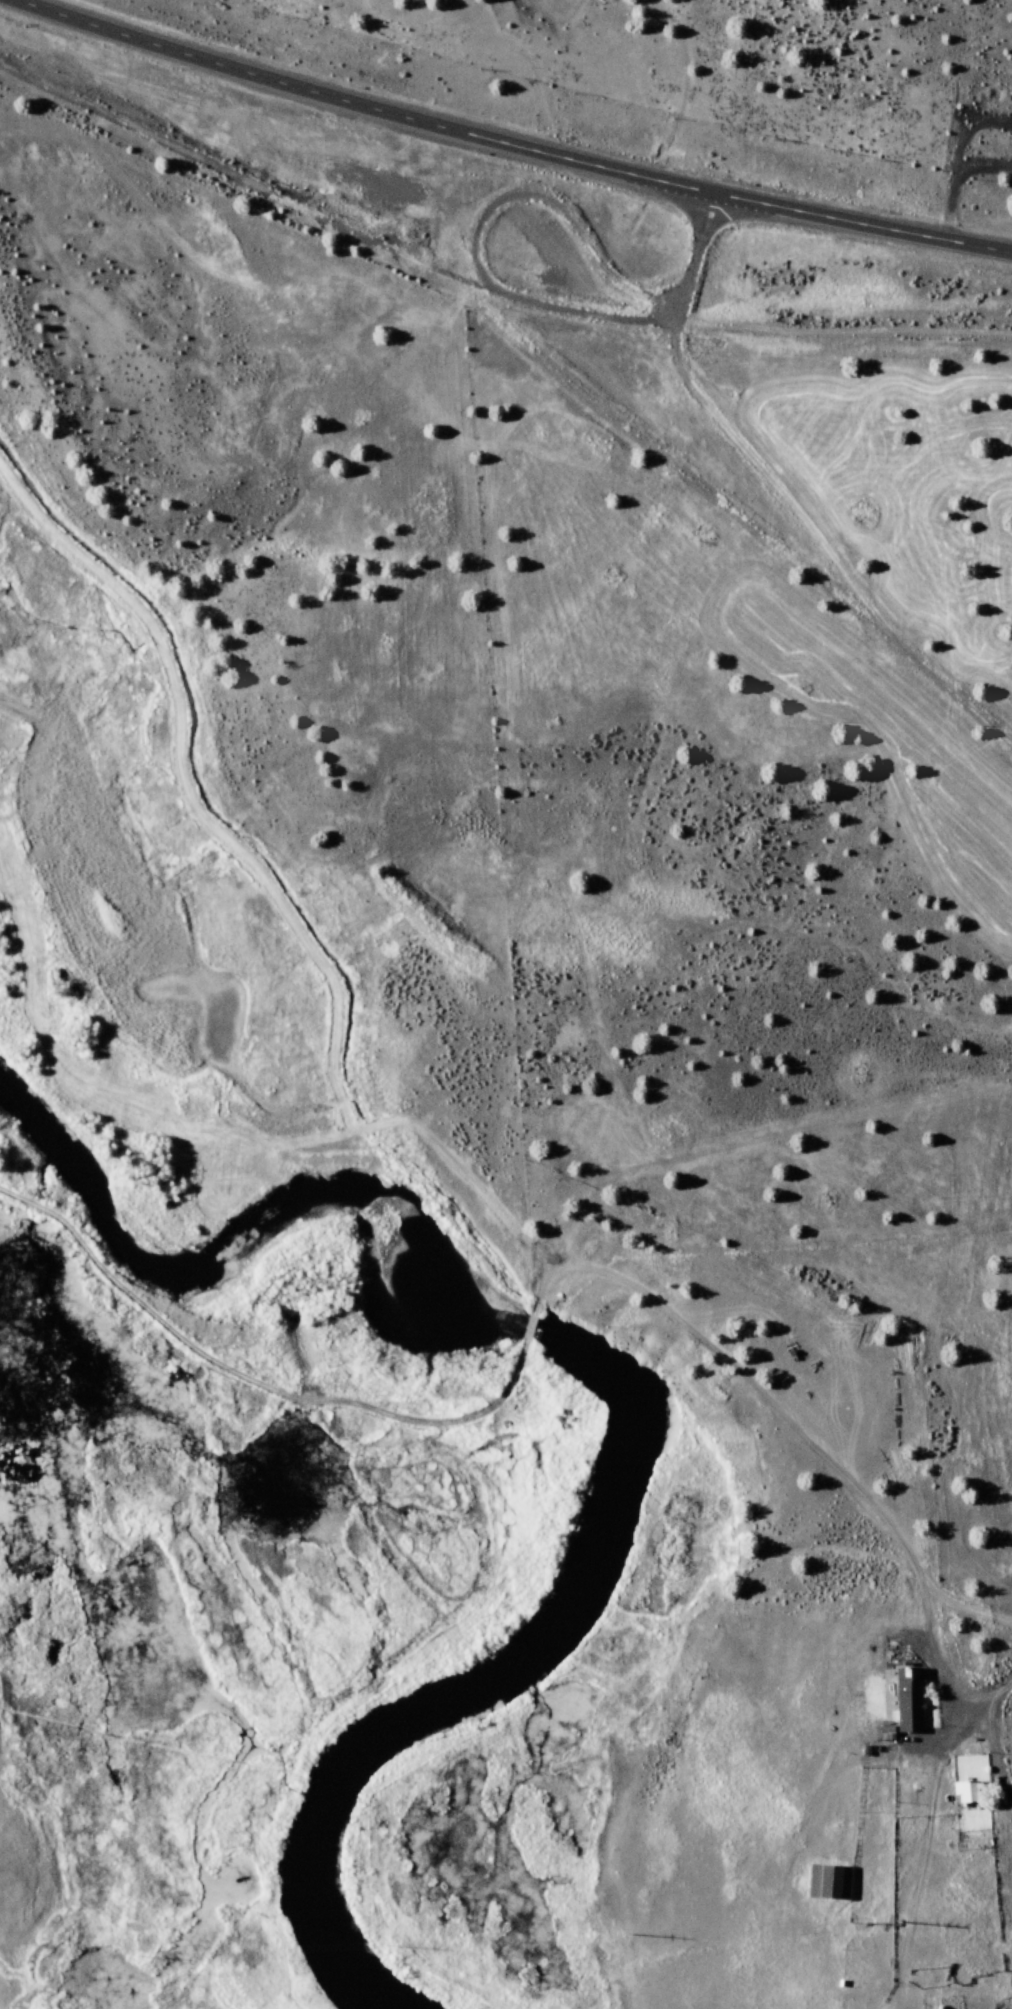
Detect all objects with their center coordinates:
road: (510, 144)
river: (634, 1394)
building: (905, 1706)
building: (967, 1792)
building: (831, 1883)

